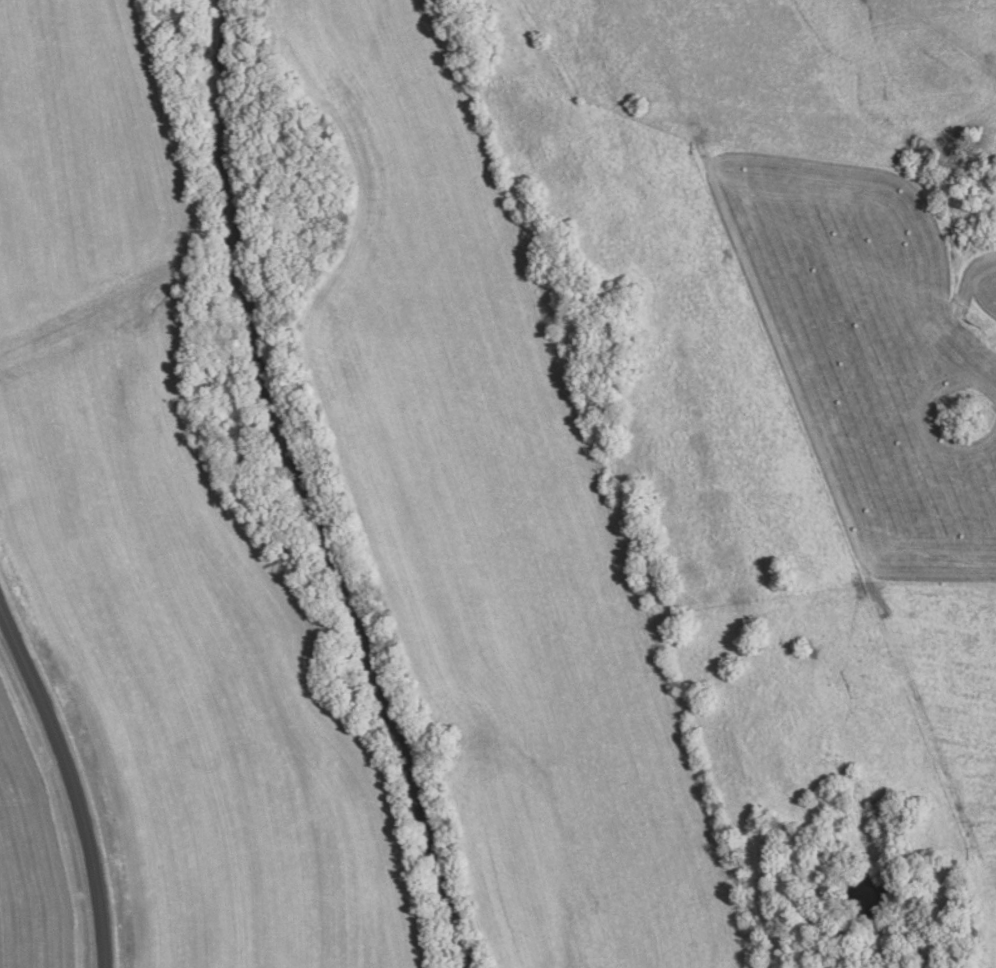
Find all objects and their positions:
road: (70, 781)

